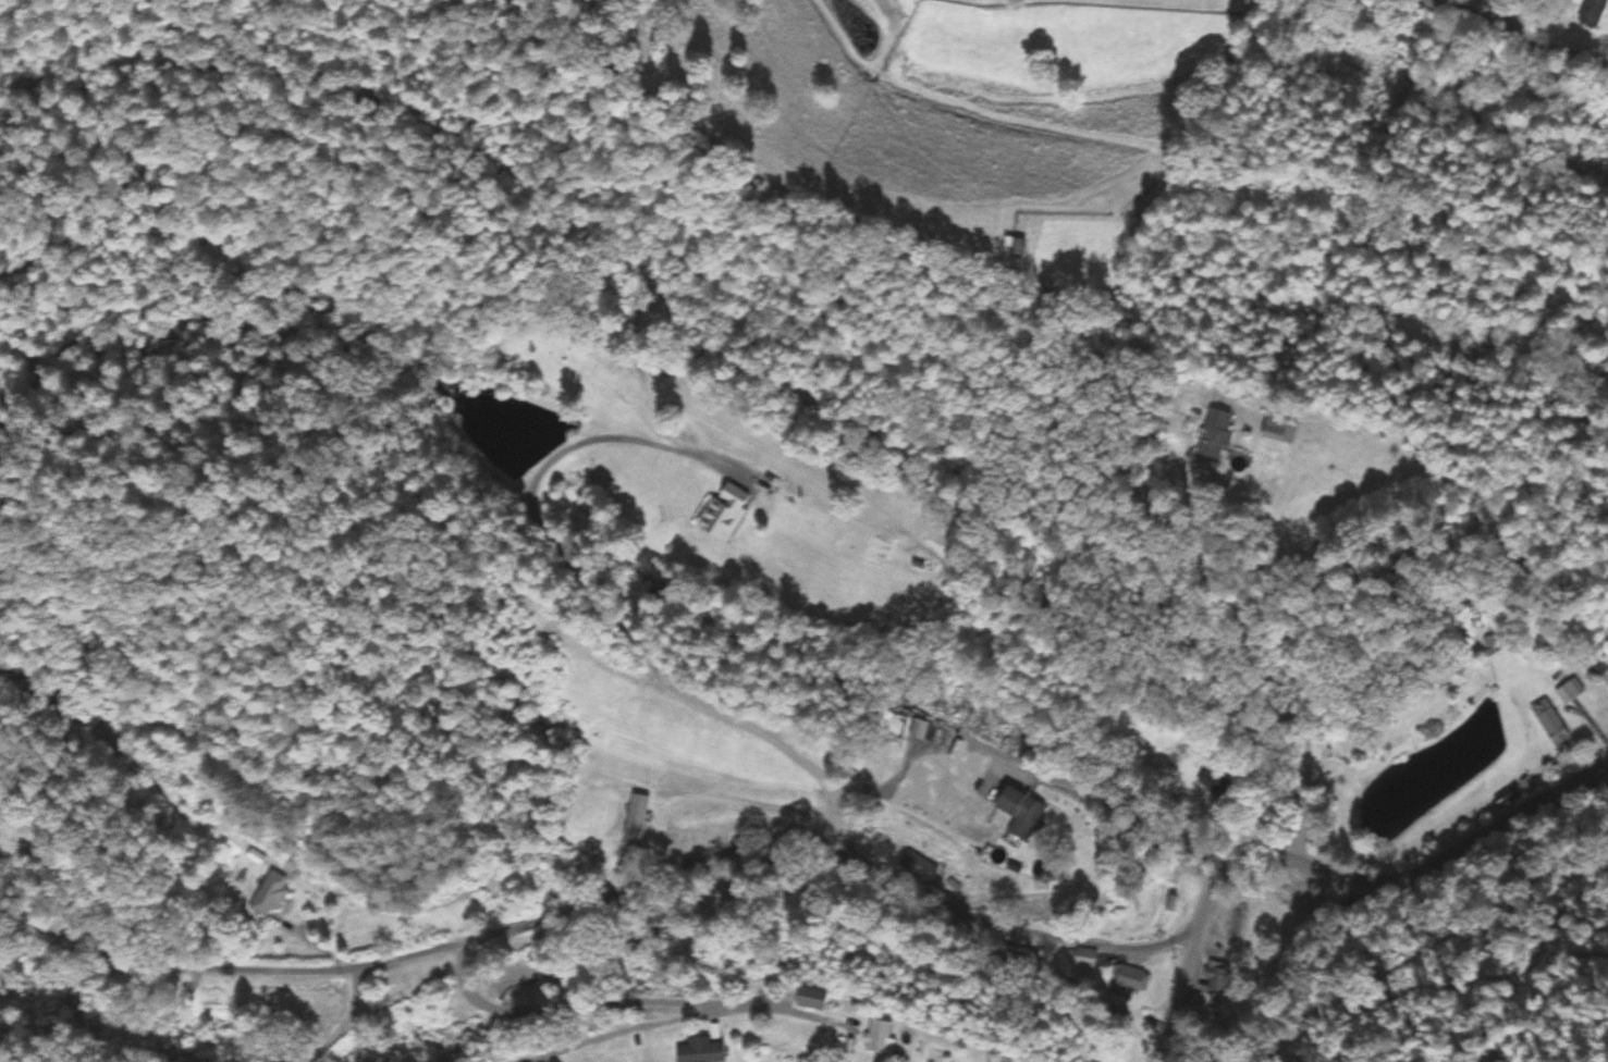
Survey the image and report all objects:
road: (1469, 9)
road: (1489, 9)
building: (1589, 14)
road: (1549, 46)
crop: (967, 109)
building: (1273, 429)
building: (1213, 437)
building: (717, 517)
road: (1259, 633)
building: (1607, 672)
building: (1570, 692)
building: (1550, 724)
building: (1210, 780)
building: (1016, 813)
building: (635, 817)
road: (1327, 872)
building: (269, 896)
road: (609, 899)
building: (1088, 959)
building: (1218, 979)
building: (1127, 981)
building: (809, 1000)
building: (876, 1038)
building: (699, 1051)

